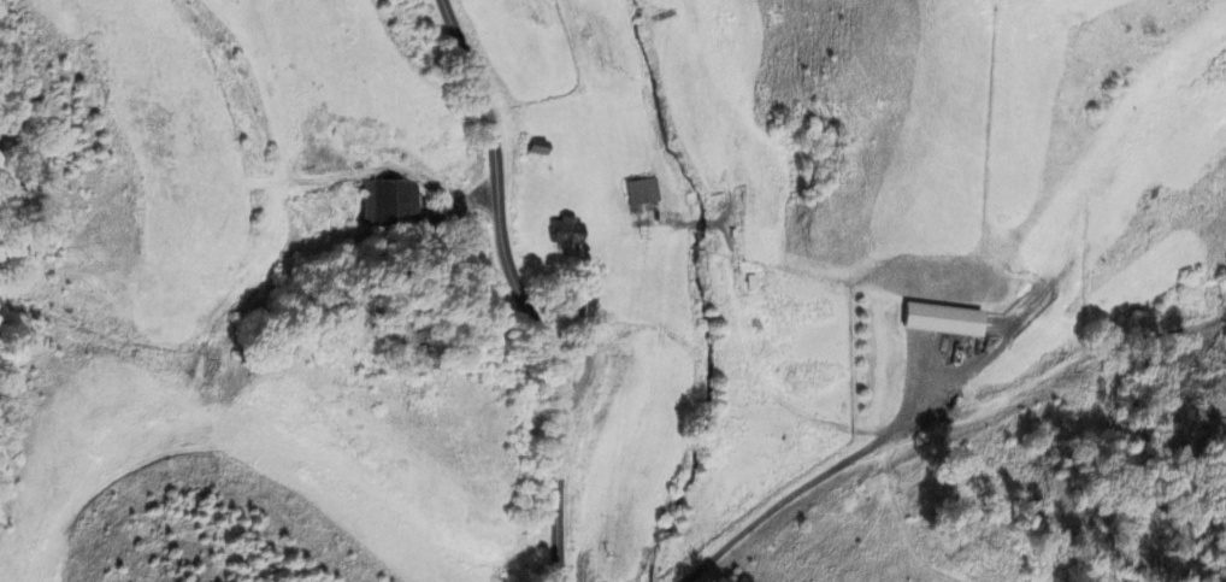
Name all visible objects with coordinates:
building: (642, 193)
building: (388, 205)
building: (565, 234)
road: (517, 290)
building: (943, 321)
road: (811, 486)

